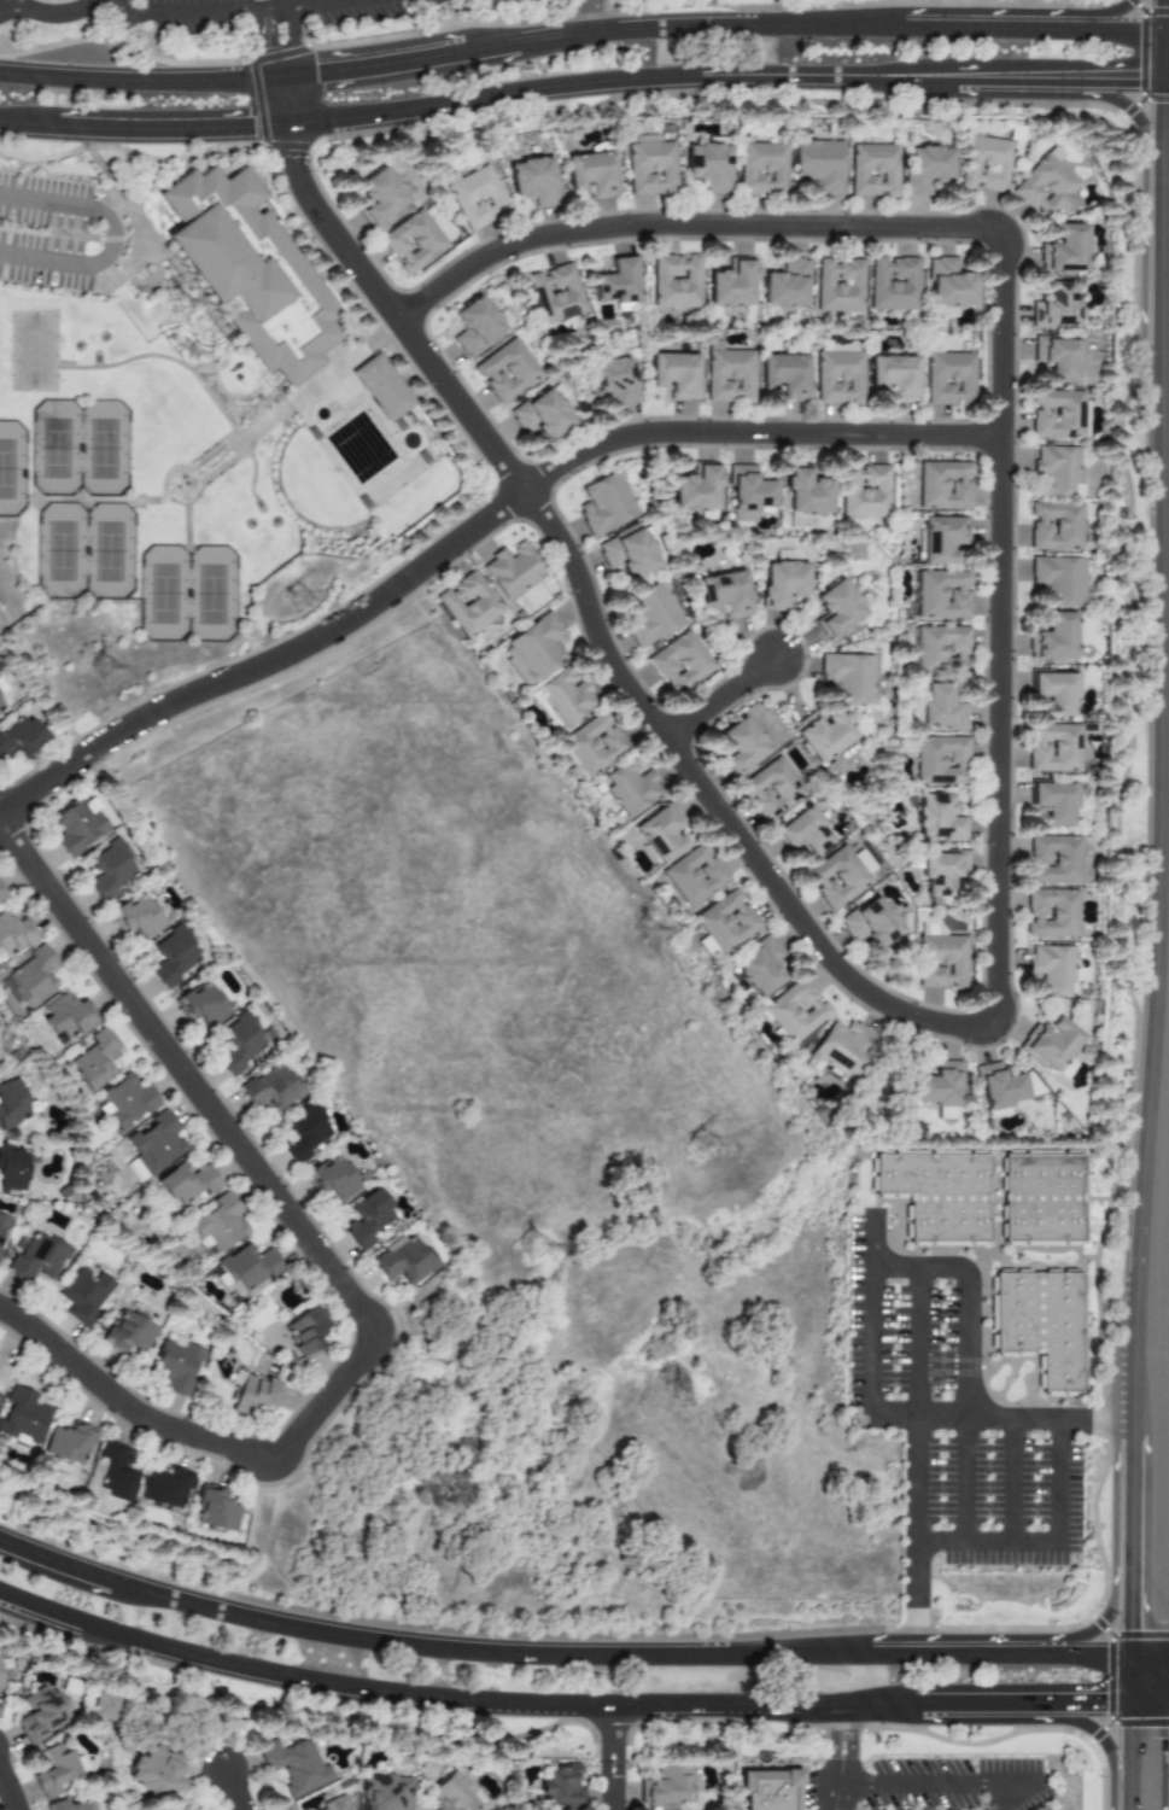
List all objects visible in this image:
road: (12, 4)
road: (268, 5)
traffic signals: (1159, 5)
road: (294, 6)
road: (349, 6)
road: (188, 11)
road: (280, 11)
road: (1103, 13)
road: (1159, 13)
road: (49, 14)
road: (596, 14)
road: (708, 23)
road: (989, 25)
road: (1118, 27)
road: (1164, 29)
park: (83, 33)
road: (490, 45)
road: (292, 46)
road: (268, 47)
road: (1159, 53)
road: (374, 63)
traffic signals: (316, 72)
road: (1164, 76)
road: (684, 77)
road: (141, 78)
road: (1121, 78)
traffic signals: (1138, 80)
road: (287, 101)
road: (1133, 116)
traffic signals: (246, 127)
road: (1159, 127)
road: (144, 129)
traffic signals: (293, 158)
building: (983, 164)
building: (818, 165)
building: (649, 167)
building: (708, 167)
building: (761, 169)
building: (924, 169)
building: (872, 170)
building: (591, 174)
building: (533, 181)
building: (1048, 186)
building: (379, 198)
building: (477, 198)
road: (691, 226)
road: (113, 239)
building: (413, 243)
building: (1064, 249)
road: (1162, 261)
building: (250, 267)
building: (676, 281)
building: (616, 282)
building: (895, 284)
building: (951, 284)
building: (732, 285)
building: (787, 285)
building: (841, 285)
building: (555, 293)
power tower: (180, 303)
building: (1056, 306)
building: (474, 326)
building: (838, 346)
park: (33, 350)
building: (1057, 357)
road: (1164, 369)
building: (505, 370)
building: (674, 375)
building: (727, 375)
building: (784, 375)
building: (840, 378)
building: (894, 378)
building: (949, 379)
building: (613, 381)
building: (381, 387)
building: (542, 415)
building: (1056, 415)
park: (105, 445)
park: (57, 446)
road: (1164, 448)
park: (11, 468)
building: (1057, 471)
building: (943, 485)
building: (695, 490)
building: (865, 491)
building: (747, 494)
building: (604, 504)
road: (1167, 516)
building: (1056, 526)
road: (472, 530)
building: (941, 538)
park: (64, 553)
building: (626, 553)
park: (113, 554)
building: (512, 568)
building: (1058, 580)
building: (782, 584)
park: (164, 591)
park: (212, 594)
building: (723, 594)
building: (941, 595)
power tower: (302, 601)
building: (468, 603)
building: (838, 608)
building: (650, 614)
road: (1000, 627)
road: (596, 629)
building: (1053, 637)
building: (538, 647)
building: (941, 650)
building: (679, 662)
building: (515, 667)
power tower: (105, 670)
building: (849, 678)
building: (1054, 693)
road: (724, 697)
building: (560, 700)
building: (1, 706)
building: (941, 708)
building: (823, 735)
building: (19, 737)
building: (594, 743)
building: (740, 746)
building: (1053, 748)
building: (940, 760)
building: (631, 788)
building: (770, 789)
building: (1054, 802)
building: (937, 818)
building: (77, 825)
building: (802, 831)
building: (660, 834)
building: (1054, 859)
building: (864, 862)
building: (110, 870)
building: (941, 871)
building: (692, 875)
building: (835, 878)
building: (1, 895)
building: (1052, 913)
building: (138, 917)
building: (725, 921)
building: (870, 923)
power tower: (645, 934)
building: (13, 935)
building: (174, 958)
building: (941, 962)
building: (758, 967)
building: (1052, 969)
road: (1151, 971)
building: (30, 977)
building: (201, 1005)
building: (795, 1010)
building: (68, 1017)
building: (1050, 1044)
building: (240, 1045)
building: (842, 1047)
building: (95, 1059)
building: (1065, 1068)
building: (1030, 1084)
building: (271, 1088)
building: (940, 1090)
building: (998, 1090)
building: (127, 1102)
building: (11, 1104)
building: (304, 1132)
building: (152, 1146)
power tower: (705, 1148)
building: (12, 1169)
building: (331, 1178)
building: (187, 1184)
building: (947, 1193)
building: (1051, 1197)
building: (368, 1220)
building: (217, 1224)
building: (4, 1225)
power tower: (534, 1245)
building: (36, 1257)
building: (404, 1260)
building: (245, 1269)
road: (322, 1272)
road: (970, 1274)
building: (84, 1295)
building: (1051, 1324)
building: (306, 1331)
building: (125, 1333)
road: (872, 1342)
building: (175, 1365)
building: (0, 1395)
building: (256, 1396)
building: (22, 1417)
road: (1001, 1421)
building: (68, 1443)
road: (917, 1462)
building: (109, 1475)
road: (964, 1482)
road: (1010, 1483)
building: (164, 1488)
road: (1130, 1506)
building: (212, 1508)
road: (1044, 1543)
road: (1098, 1623)
traffic signals: (1129, 1628)
road: (1129, 1637)
road: (427, 1648)
road: (1148, 1654)
road: (959, 1656)
road: (1085, 1656)
road: (1126, 1656)
road: (448, 1698)
road: (1147, 1701)
road: (916, 1703)
road: (980, 1703)
road: (1083, 1703)
traffic signals: (1095, 1704)
building: (103, 1706)
building: (39, 1715)
road: (1098, 1736)
road: (1128, 1750)
road: (612, 1757)
road: (841, 1757)
building: (293, 1765)
building: (53, 1770)
building: (154, 1770)
road: (953, 1782)
building: (561, 1787)
building: (666, 1787)
road: (229, 1789)
building: (384, 1793)
building: (451, 1793)
road: (6, 1796)
building: (775, 1798)
building: (335, 1804)
road: (1127, 1804)
building: (66, 1805)

